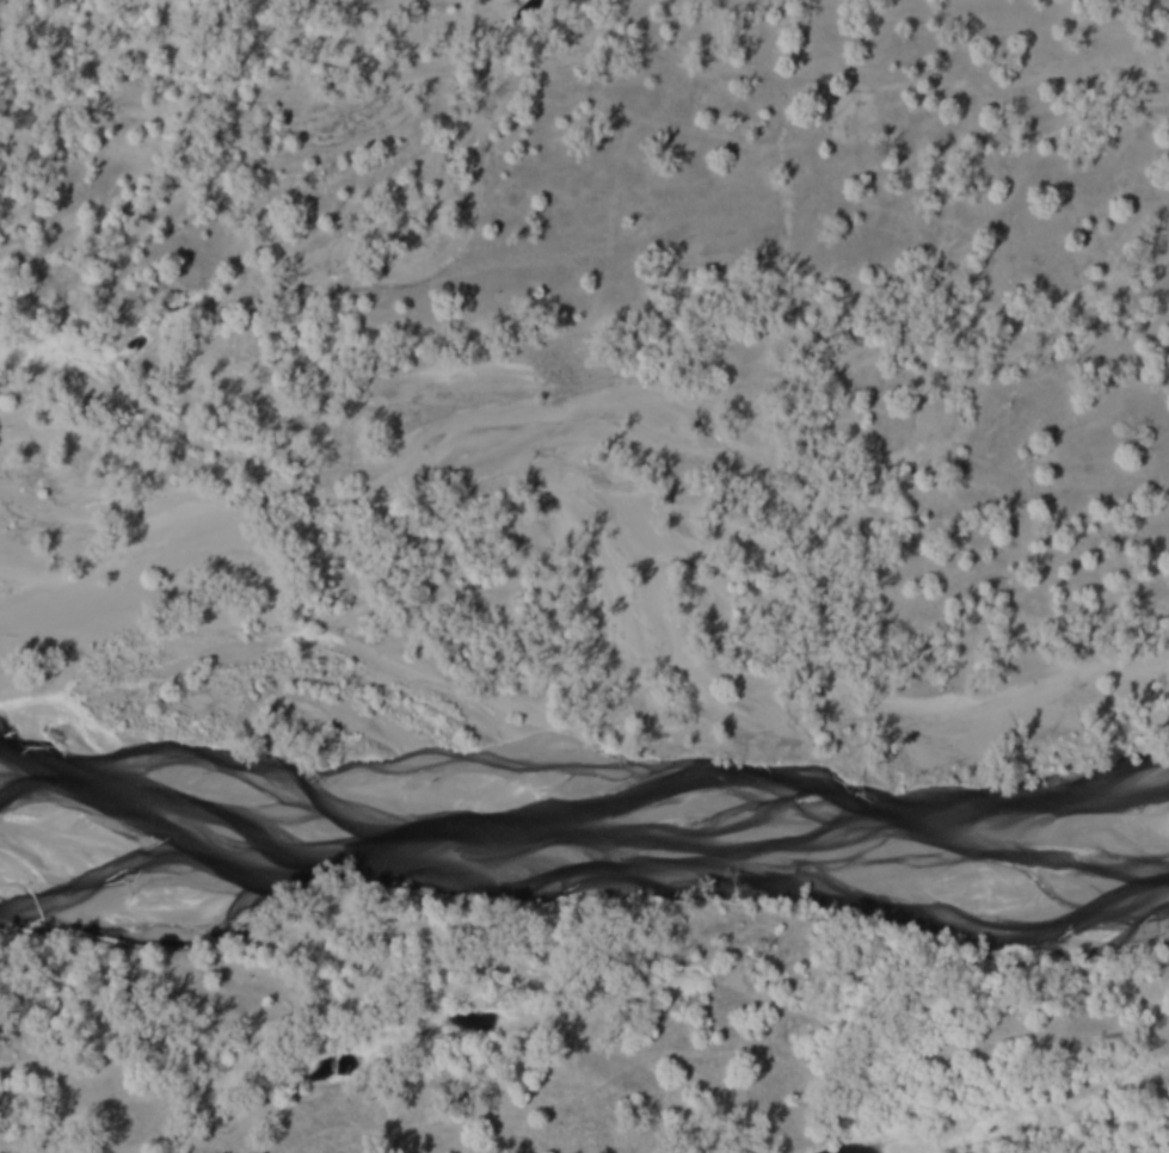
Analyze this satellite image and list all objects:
river: (579, 852)

